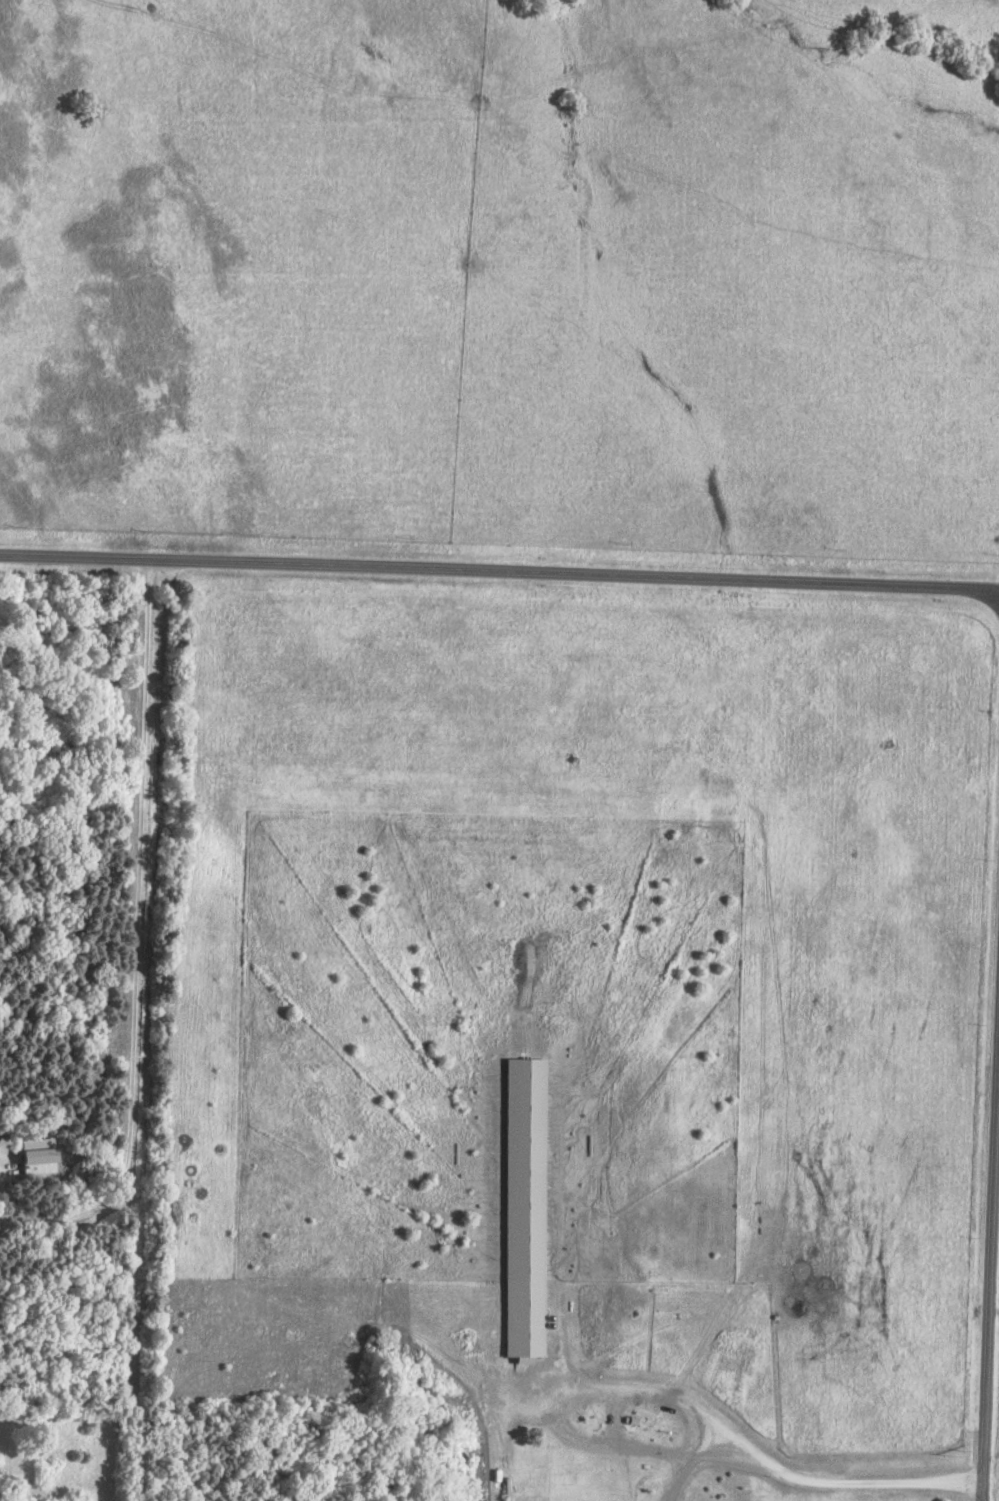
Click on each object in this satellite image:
road: (499, 569)
road: (990, 1270)

